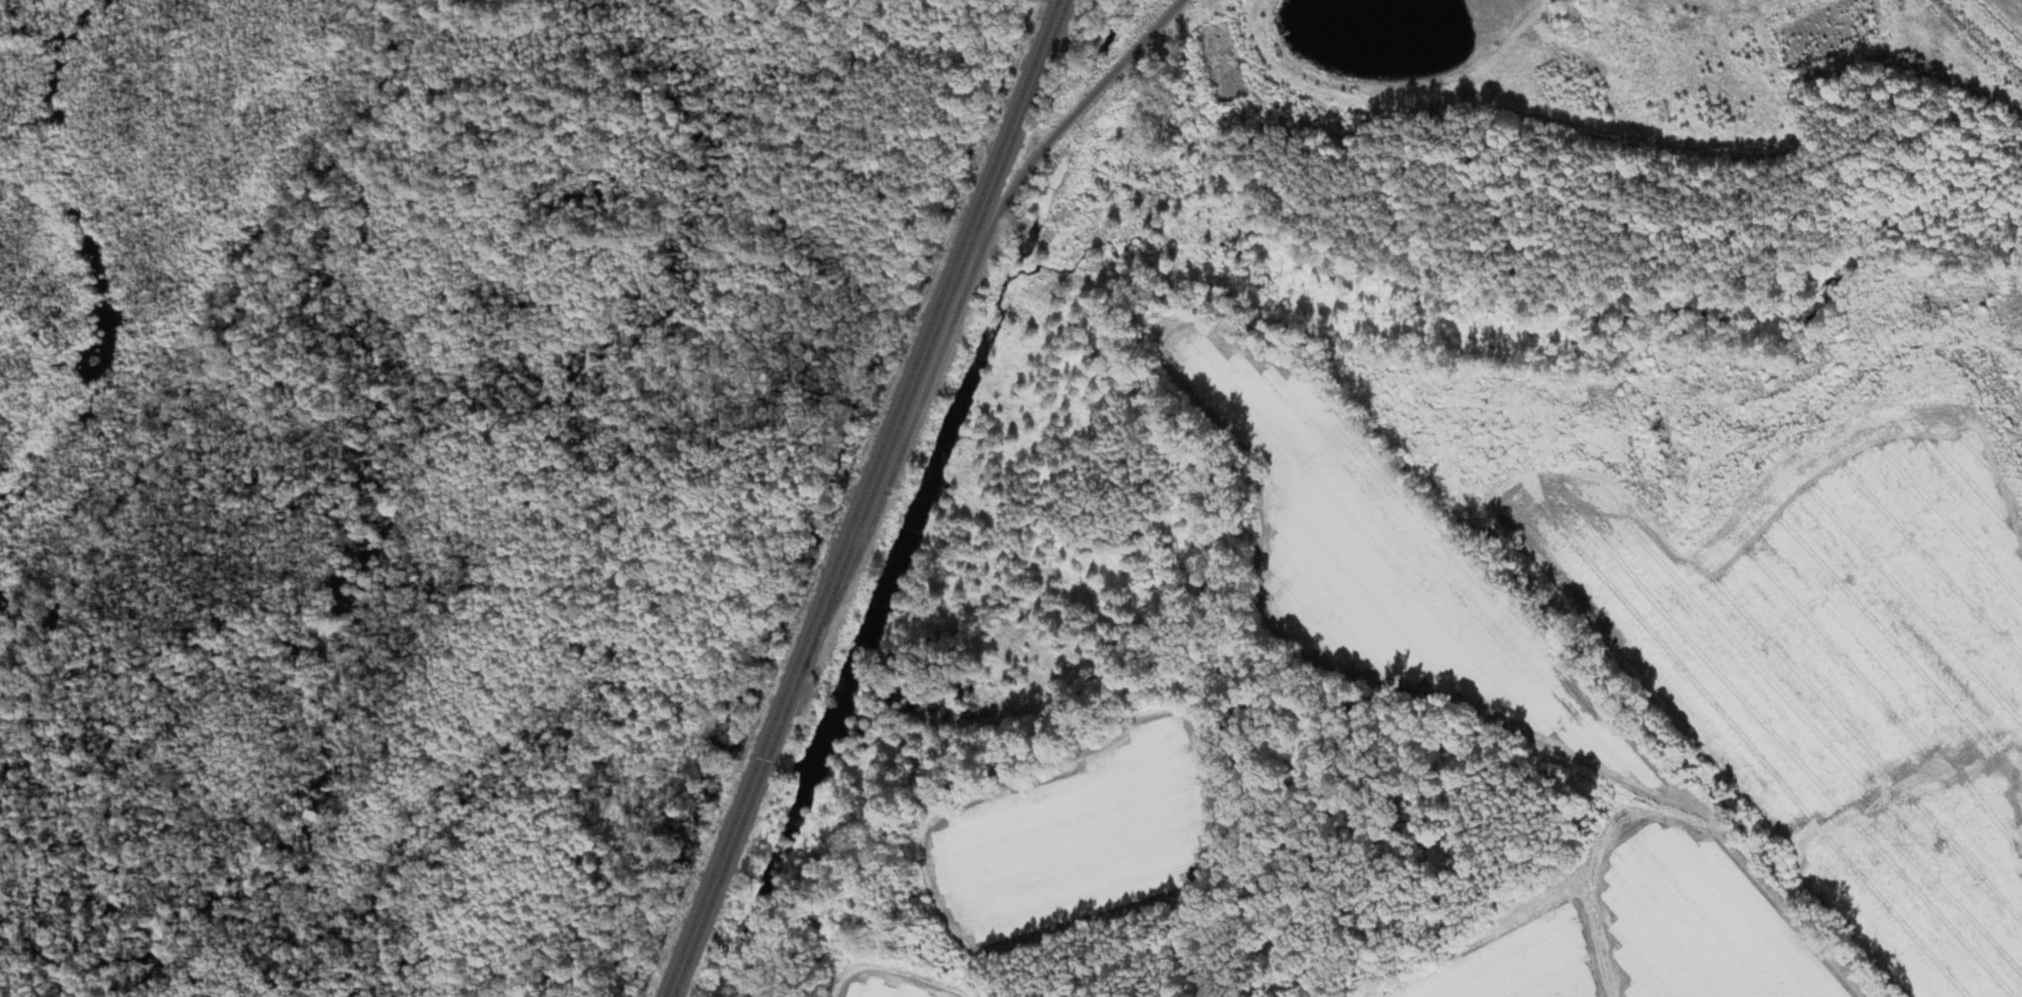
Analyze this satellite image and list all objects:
railway: (960, 308)
railway: (860, 498)
railway: (870, 498)

